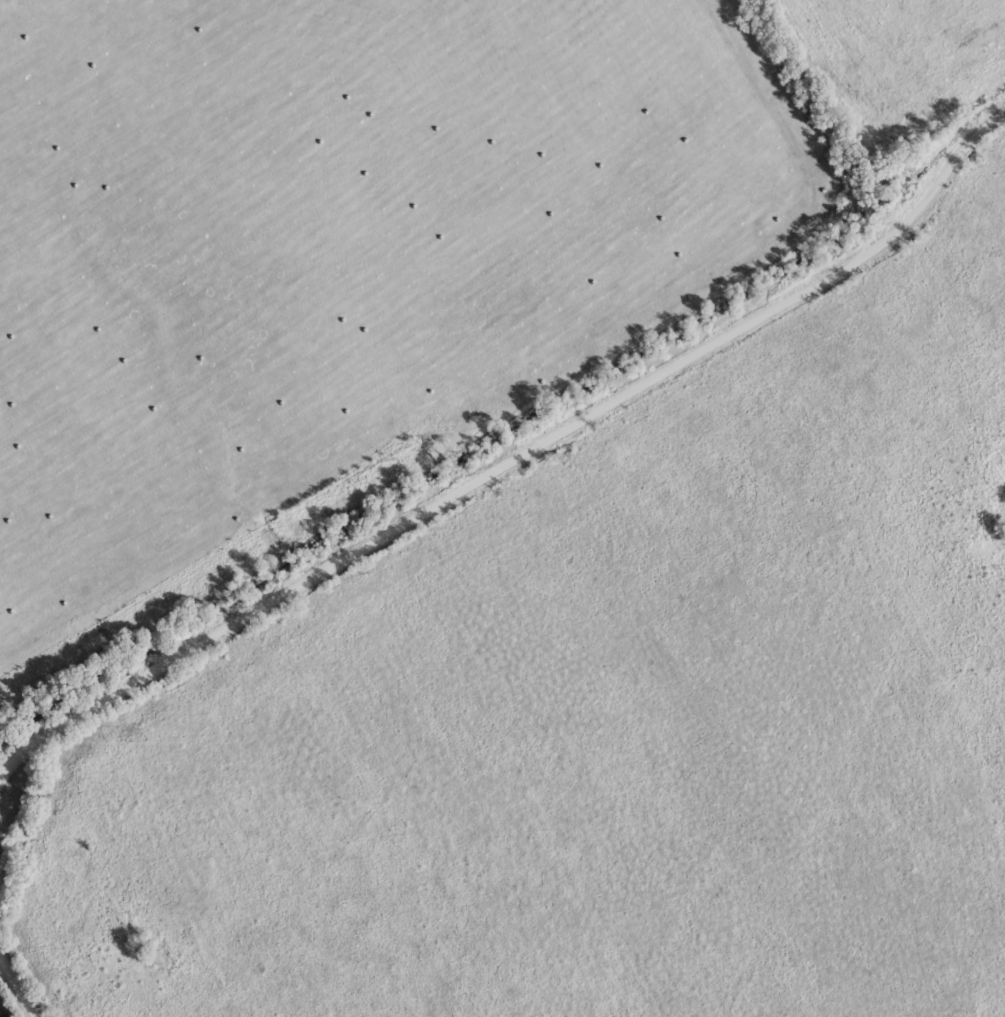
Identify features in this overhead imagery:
road: (514, 465)
road: (21, 981)

